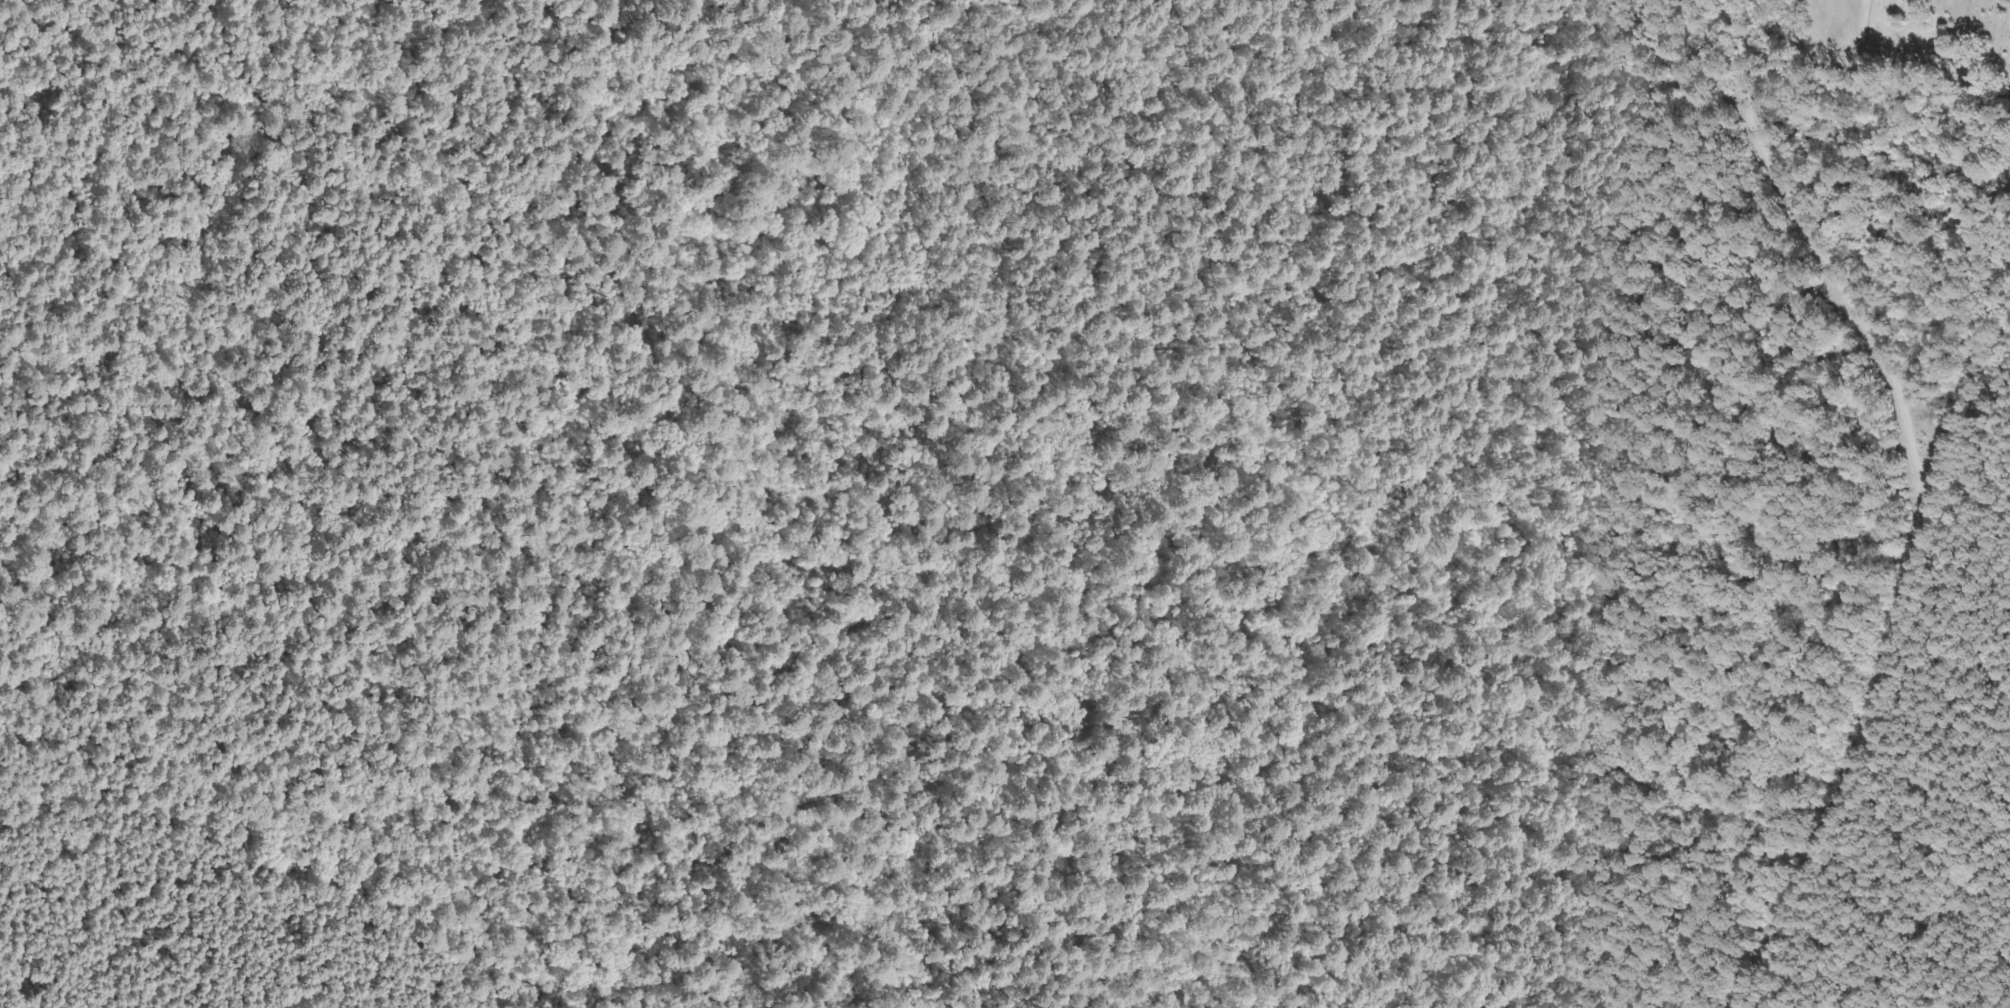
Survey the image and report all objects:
park: (1942, 29)
road: (1907, 495)

